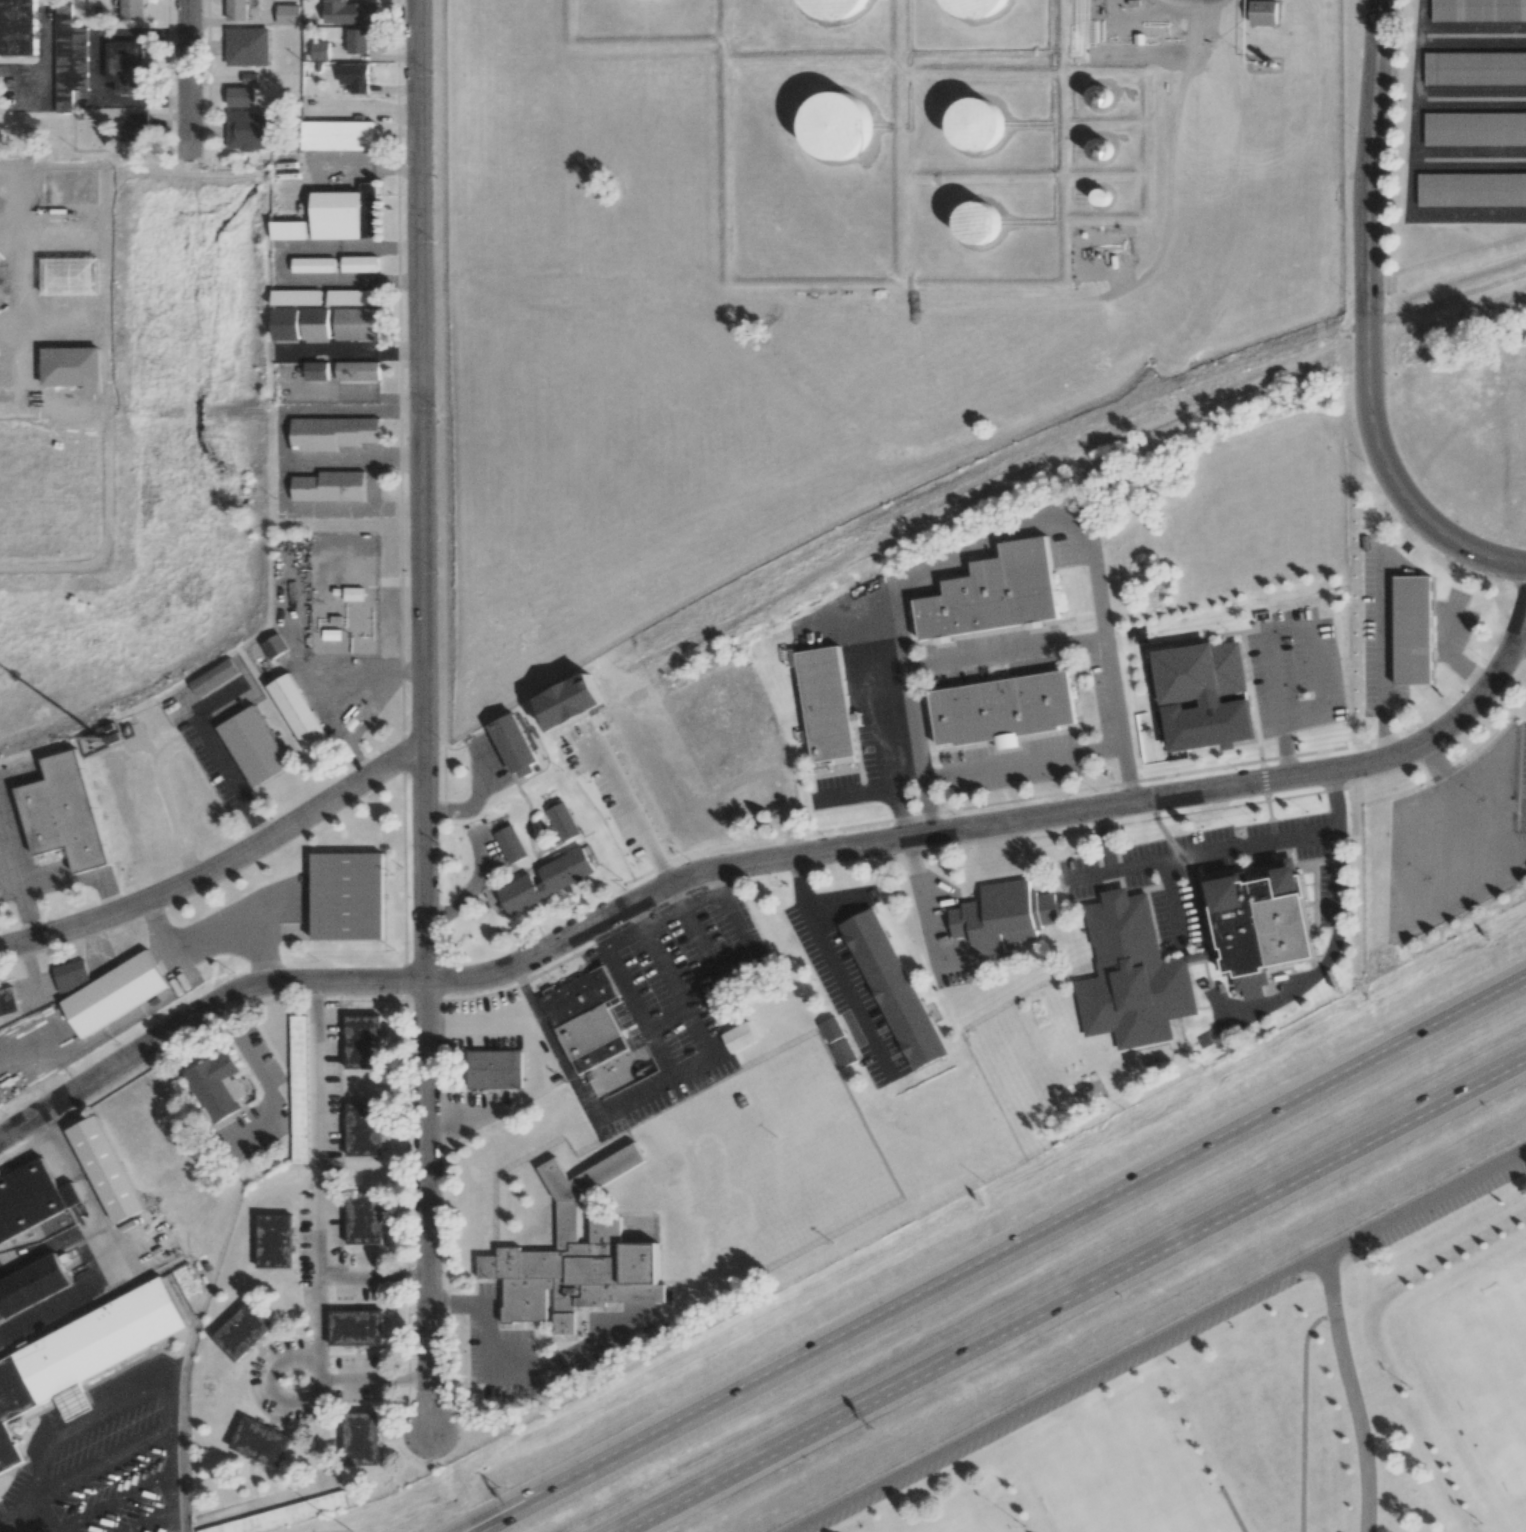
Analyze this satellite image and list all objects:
building: (838, 7)
building: (974, 7)
building: (132, 8)
building: (236, 10)
building: (1478, 10)
building: (1263, 12)
building: (349, 13)
building: (288, 14)
building: (18, 27)
building: (357, 41)
building: (247, 46)
building: (319, 50)
building: (69, 58)
building: (126, 67)
building: (1475, 68)
road: (187, 77)
building: (354, 77)
building: (249, 78)
building: (241, 96)
building: (1100, 96)
building: (976, 124)
building: (835, 125)
building: (135, 128)
building: (1475, 128)
building: (248, 130)
building: (337, 135)
building: (1101, 149)
road: (1165, 165)
building: (1471, 189)
building: (1100, 196)
building: (346, 214)
building: (978, 224)
building: (289, 230)
building: (360, 264)
building: (314, 265)
building: (297, 297)
building: (353, 298)
building: (315, 323)
building: (285, 324)
building: (357, 324)
road: (1368, 324)
building: (357, 370)
building: (316, 371)
building: (332, 433)
building: (329, 486)
road: (422, 490)
road: (932, 565)
building: (353, 593)
building: (994, 593)
road: (1280, 630)
building: (1412, 630)
road: (1521, 637)
building: (275, 646)
road: (994, 656)
road: (1453, 656)
road: (1384, 671)
building: (1200, 673)
building: (213, 677)
building: (567, 690)
building: (826, 705)
building: (1002, 709)
building: (298, 713)
building: (253, 745)
building: (515, 746)
building: (671, 751)
road: (971, 769)
road: (232, 780)
road: (1461, 791)
road: (474, 803)
road: (626, 806)
building: (63, 812)
building: (562, 819)
road: (1002, 822)
building: (509, 844)
road: (1219, 849)
road: (223, 866)
road: (1089, 876)
building: (547, 880)
building: (347, 895)
road: (1172, 903)
building: (1002, 916)
building: (1261, 952)
road: (1326, 958)
road: (835, 965)
building: (71, 975)
building: (893, 987)
building: (115, 993)
building: (7, 1001)
road: (197, 1014)
building: (586, 1019)
building: (739, 1037)
building: (362, 1041)
building: (844, 1053)
building: (494, 1068)
building: (216, 1085)
building: (298, 1089)
building: (1, 1102)
building: (363, 1129)
building: (105, 1168)
road: (72, 1169)
road: (1417, 1182)
building: (31, 1199)
road: (427, 1206)
building: (364, 1218)
road: (318, 1236)
road: (1029, 1239)
building: (274, 1240)
road: (50, 1248)
building: (576, 1255)
road: (373, 1275)
building: (32, 1284)
road: (85, 1292)
road: (1070, 1295)
building: (356, 1327)
building: (242, 1331)
building: (84, 1351)
park: (1491, 1364)
road: (513, 1370)
road: (1037, 1381)
park: (1238, 1381)
road: (1351, 1395)
road: (167, 1397)
parking lot: (1025, 1400)
road: (302, 1402)
road: (1305, 1413)
building: (360, 1438)
building: (261, 1443)
road: (170, 1451)
park: (1120, 1475)
road: (150, 1479)
road: (1231, 1511)
road: (28, 1513)
building: (278, 1516)
road: (500, 1516)
road: (505, 1516)
road: (46, 1521)
park: (989, 1522)
street lamp: (352, 1531)

